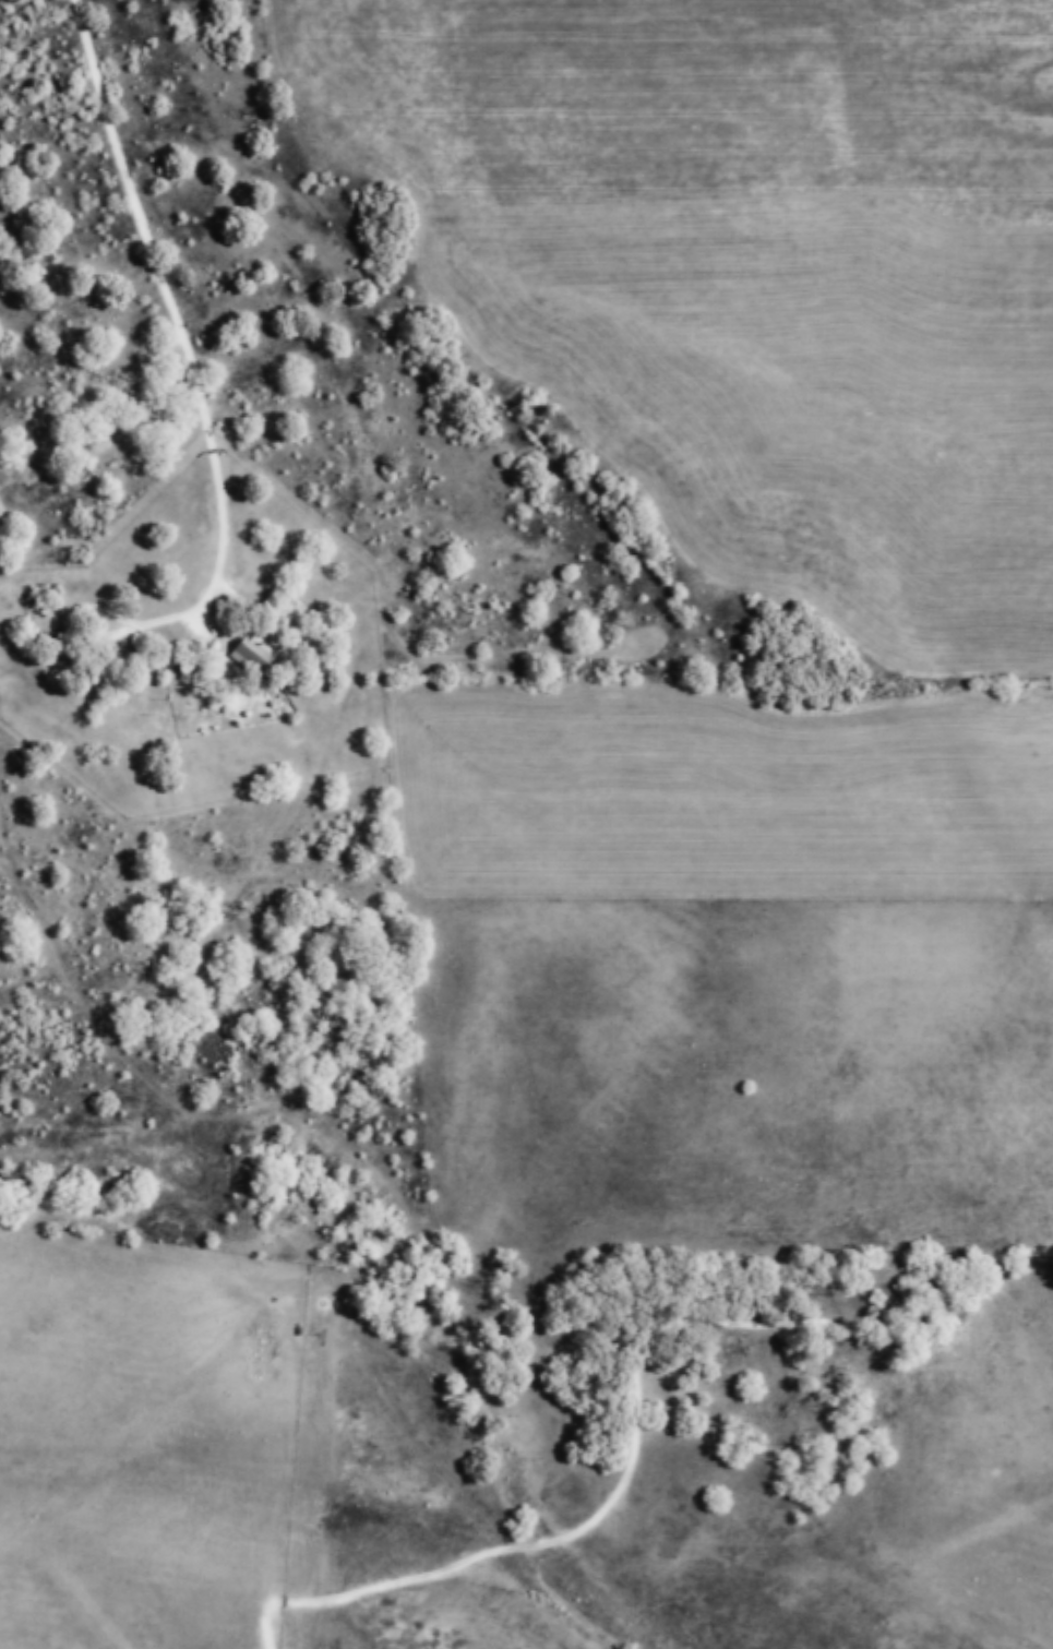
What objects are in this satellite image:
road: (415, 505)
building: (258, 655)

